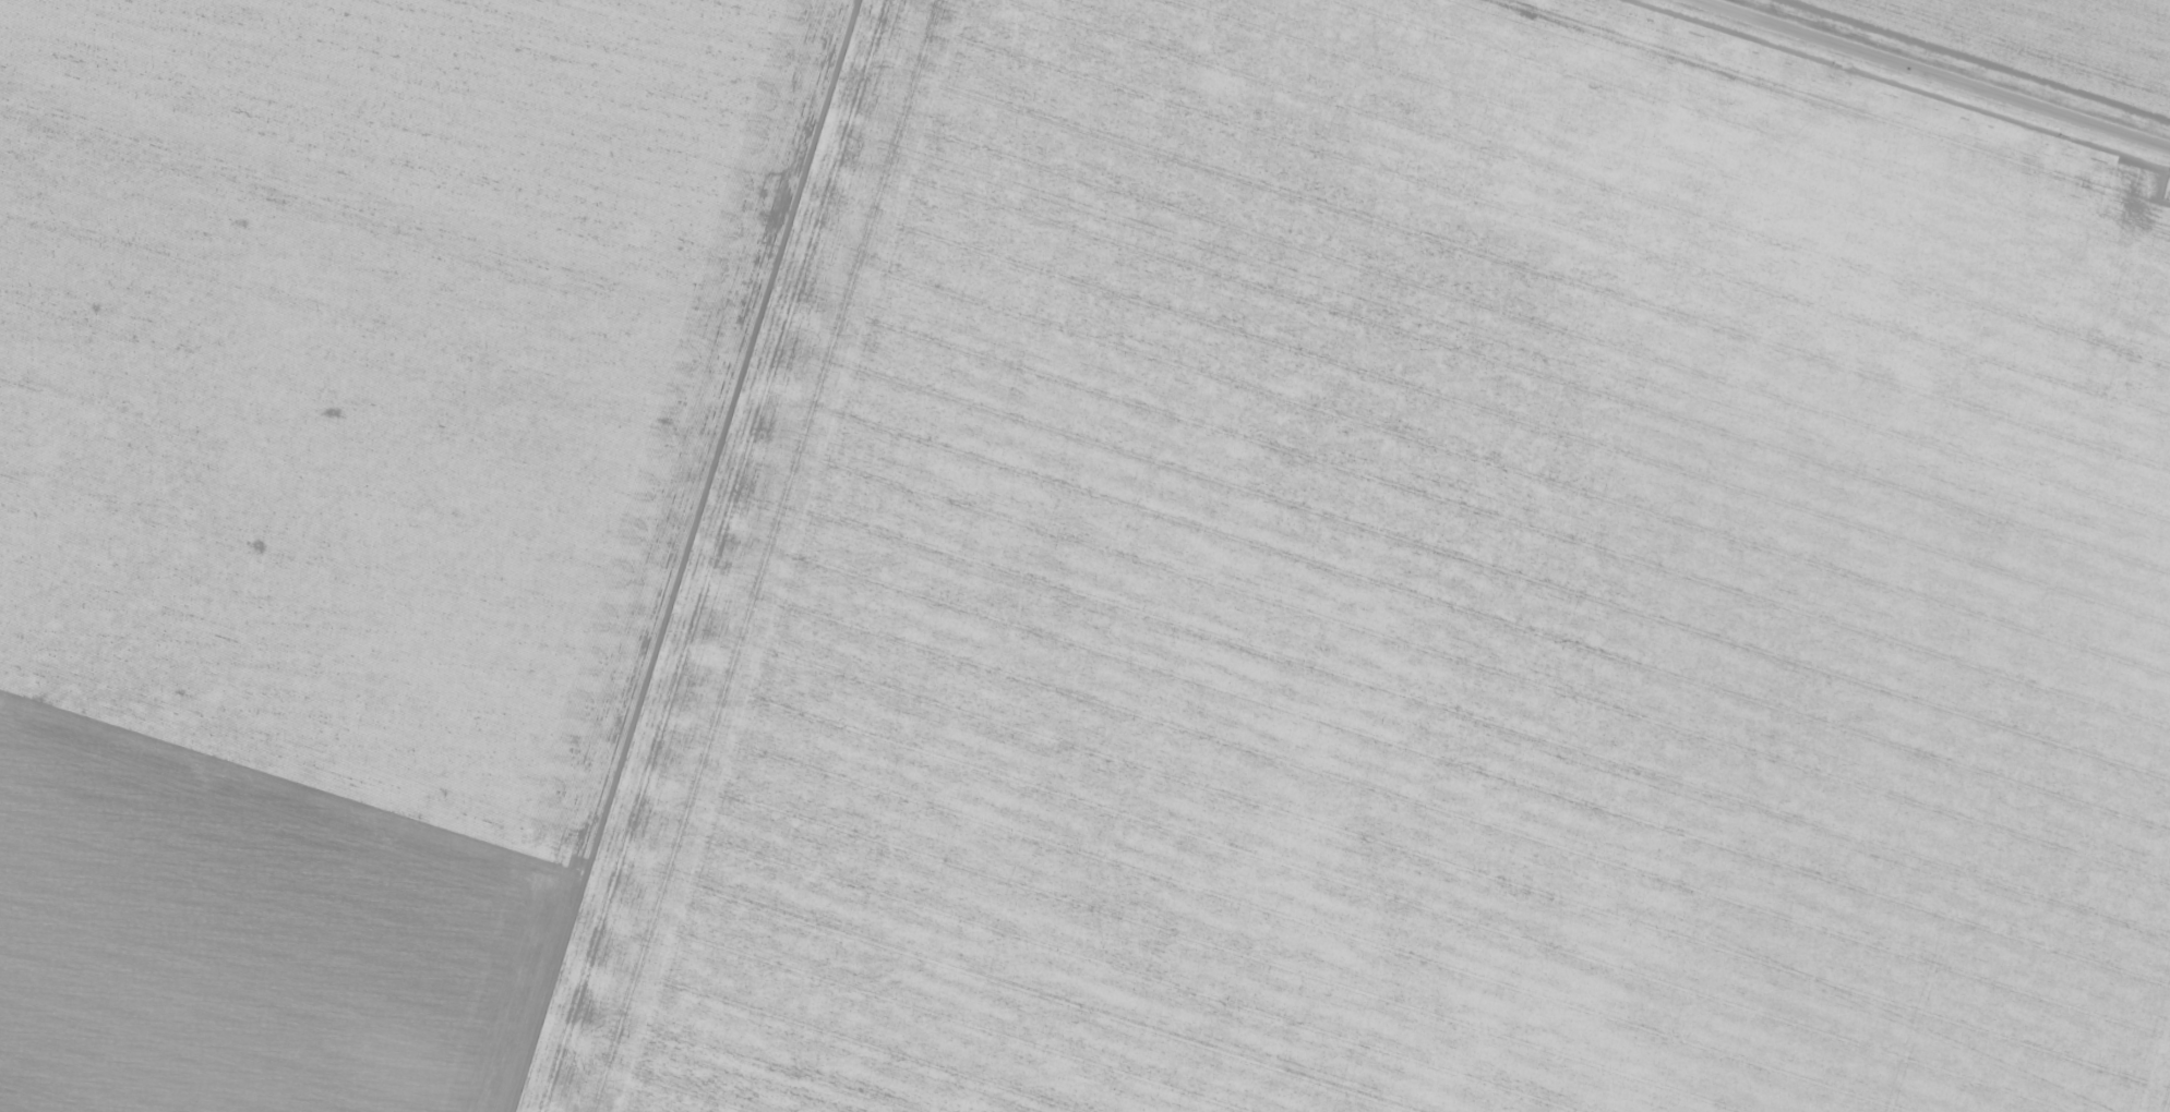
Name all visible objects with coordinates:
road: (1940, 71)

